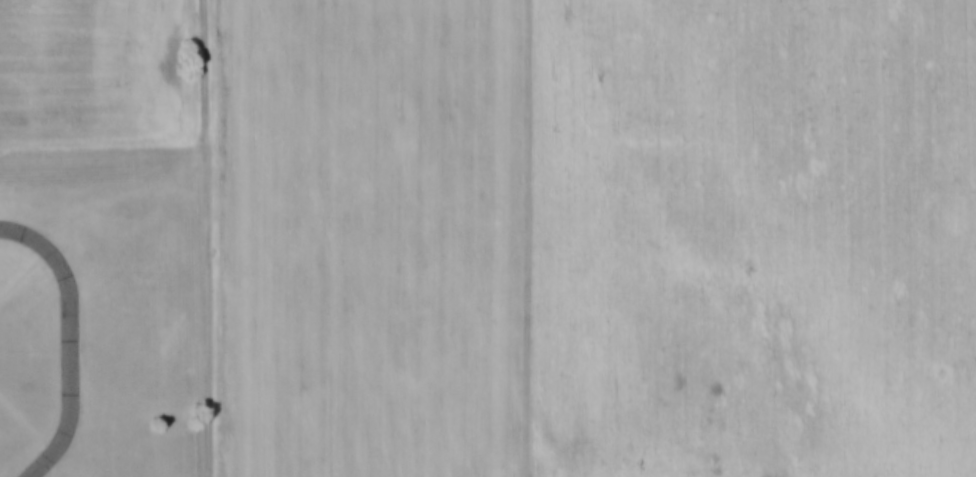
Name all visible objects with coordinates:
road: (210, 238)
road: (24, 274)
park: (94, 309)
road: (69, 340)
road: (27, 423)

